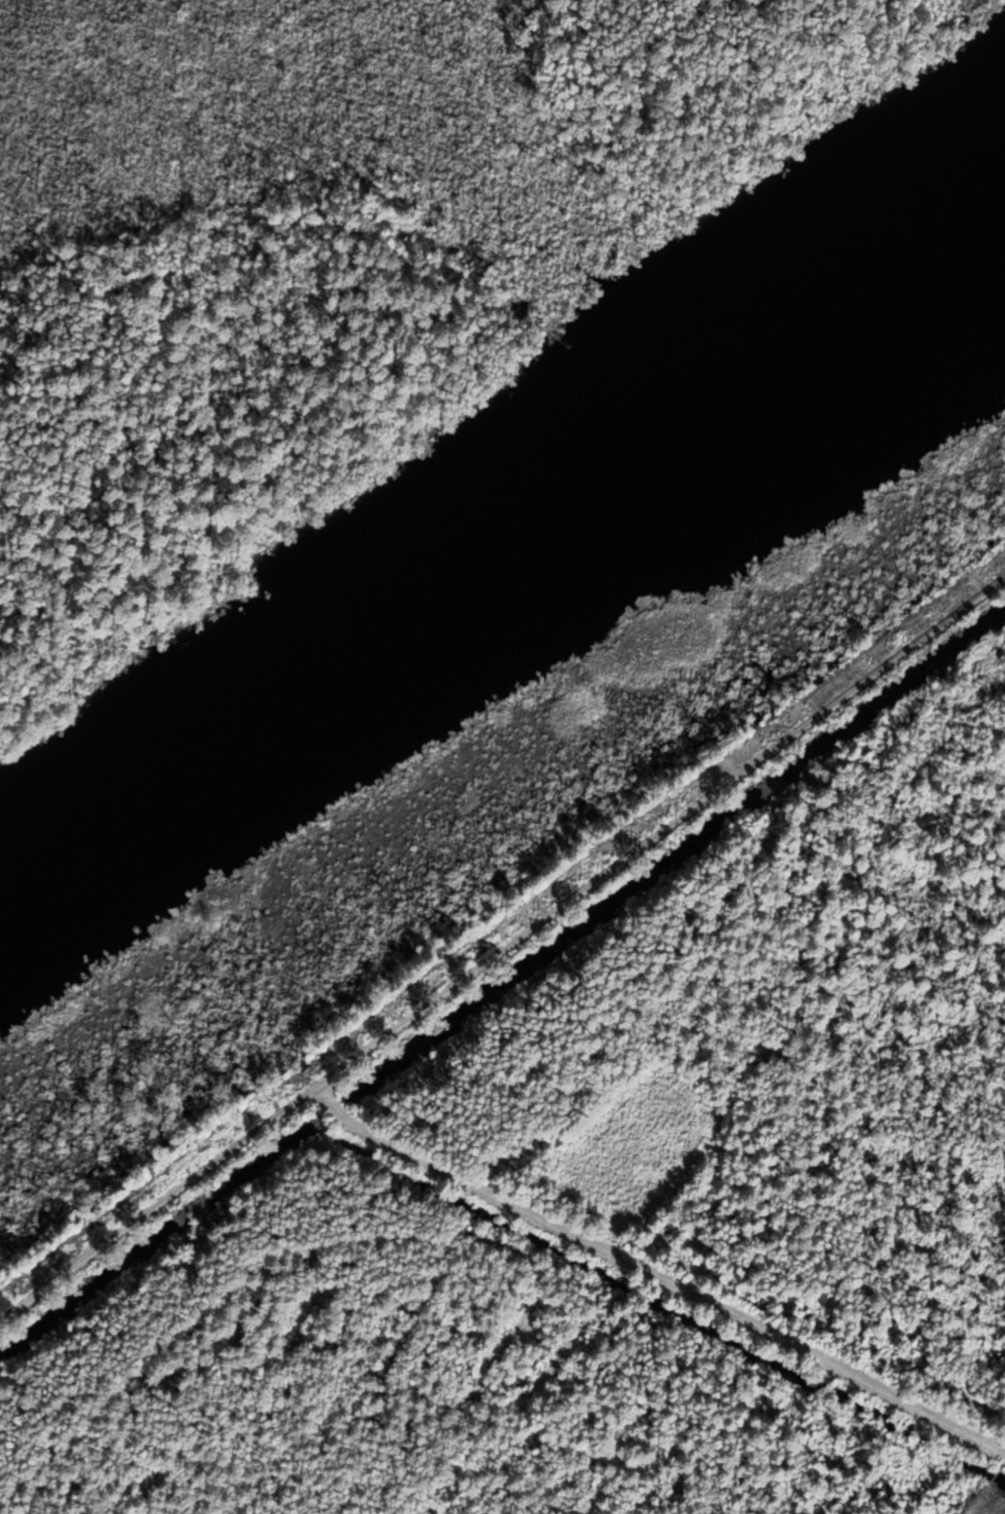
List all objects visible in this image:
road: (639, 825)
road: (144, 1207)
road: (639, 1311)

